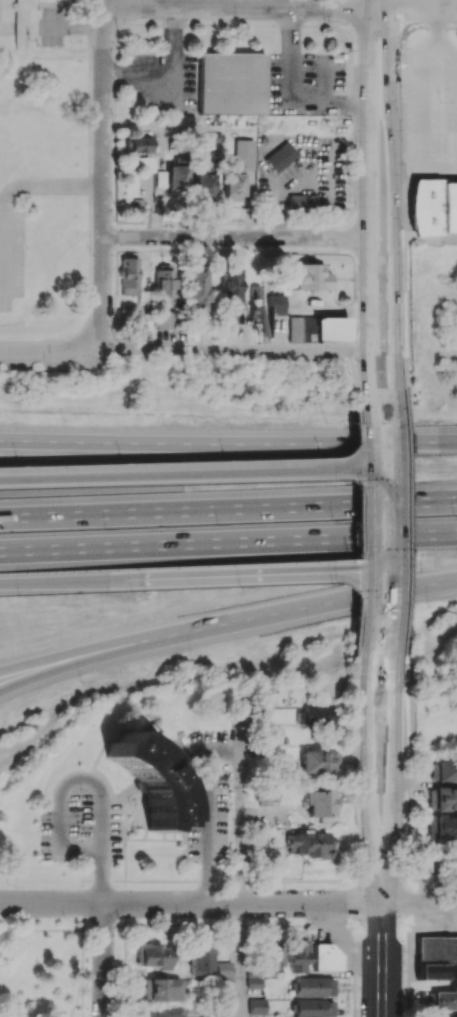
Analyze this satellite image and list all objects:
road: (109, 2)
road: (283, 6)
road: (380, 12)
road: (438, 22)
parking lot: (308, 84)
building: (230, 85)
road: (290, 95)
road: (425, 100)
road: (354, 119)
building: (142, 152)
building: (280, 156)
building: (236, 169)
road: (104, 175)
building: (170, 178)
building: (201, 182)
road: (10, 192)
building: (302, 202)
road: (369, 204)
road: (393, 206)
building: (434, 207)
road: (236, 237)
building: (129, 276)
building: (310, 277)
building: (164, 281)
building: (230, 285)
building: (197, 288)
building: (253, 291)
building: (273, 303)
building: (130, 312)
building: (228, 315)
building: (163, 320)
building: (296, 329)
building: (329, 329)
road: (51, 347)
road: (236, 349)
street lamp: (66, 418)
street lamp: (330, 420)
street lamp: (198, 421)
road: (17, 439)
road: (17, 440)
road: (245, 441)
traffic signals: (371, 449)
traffic signals: (383, 475)
road: (200, 478)
road: (228, 507)
street lamp: (454, 515)
road: (371, 521)
road: (395, 522)
road: (228, 543)
traffic signals: (372, 553)
traffic signals: (352, 572)
road: (259, 574)
road: (61, 581)
traffic signals: (396, 587)
street lamp: (18, 596)
street lamp: (430, 605)
road: (294, 607)
street lamp: (312, 629)
street lamp: (192, 653)
road: (67, 657)
road: (66, 665)
street lamp: (81, 681)
park: (435, 693)
building: (318, 715)
building: (271, 734)
building: (318, 761)
road: (393, 769)
building: (443, 770)
road: (370, 771)
building: (148, 779)
building: (442, 798)
building: (320, 804)
road: (240, 806)
building: (442, 826)
road: (206, 827)
building: (259, 840)
building: (309, 843)
road: (102, 847)
building: (422, 856)
traffic signals: (383, 883)
road: (191, 903)
road: (420, 903)
road: (83, 916)
road: (41, 930)
road: (94, 930)
road: (83, 946)
road: (383, 950)
building: (154, 955)
building: (273, 956)
building: (296, 956)
building: (434, 956)
building: (326, 957)
road: (104, 960)
building: (200, 960)
road: (240, 960)
building: (223, 969)
park: (41, 973)
building: (254, 979)
building: (309, 986)
building: (161, 989)
road: (79, 990)
road: (83, 990)
building: (226, 991)
building: (440, 1000)
building: (256, 1006)
building: (312, 1007)
building: (162, 1012)

